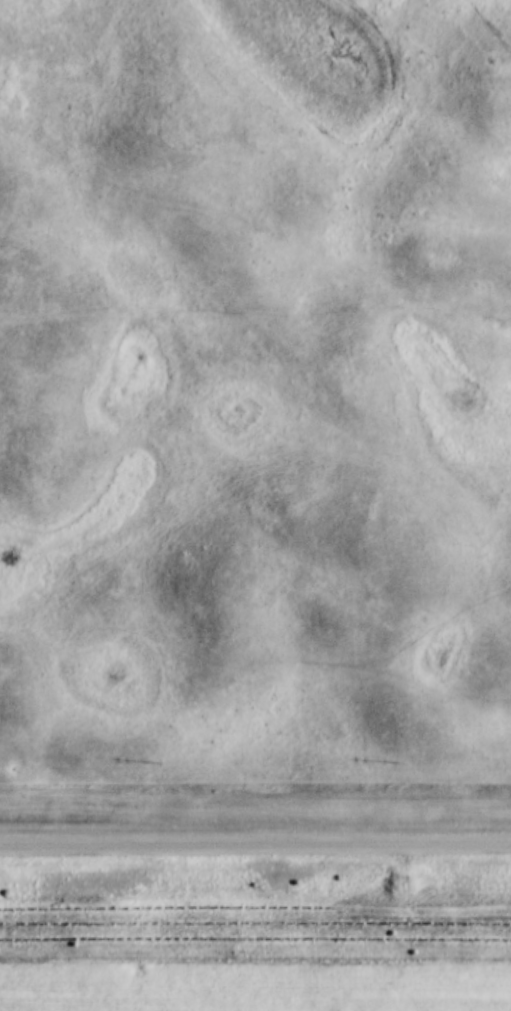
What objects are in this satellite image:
road: (255, 846)

